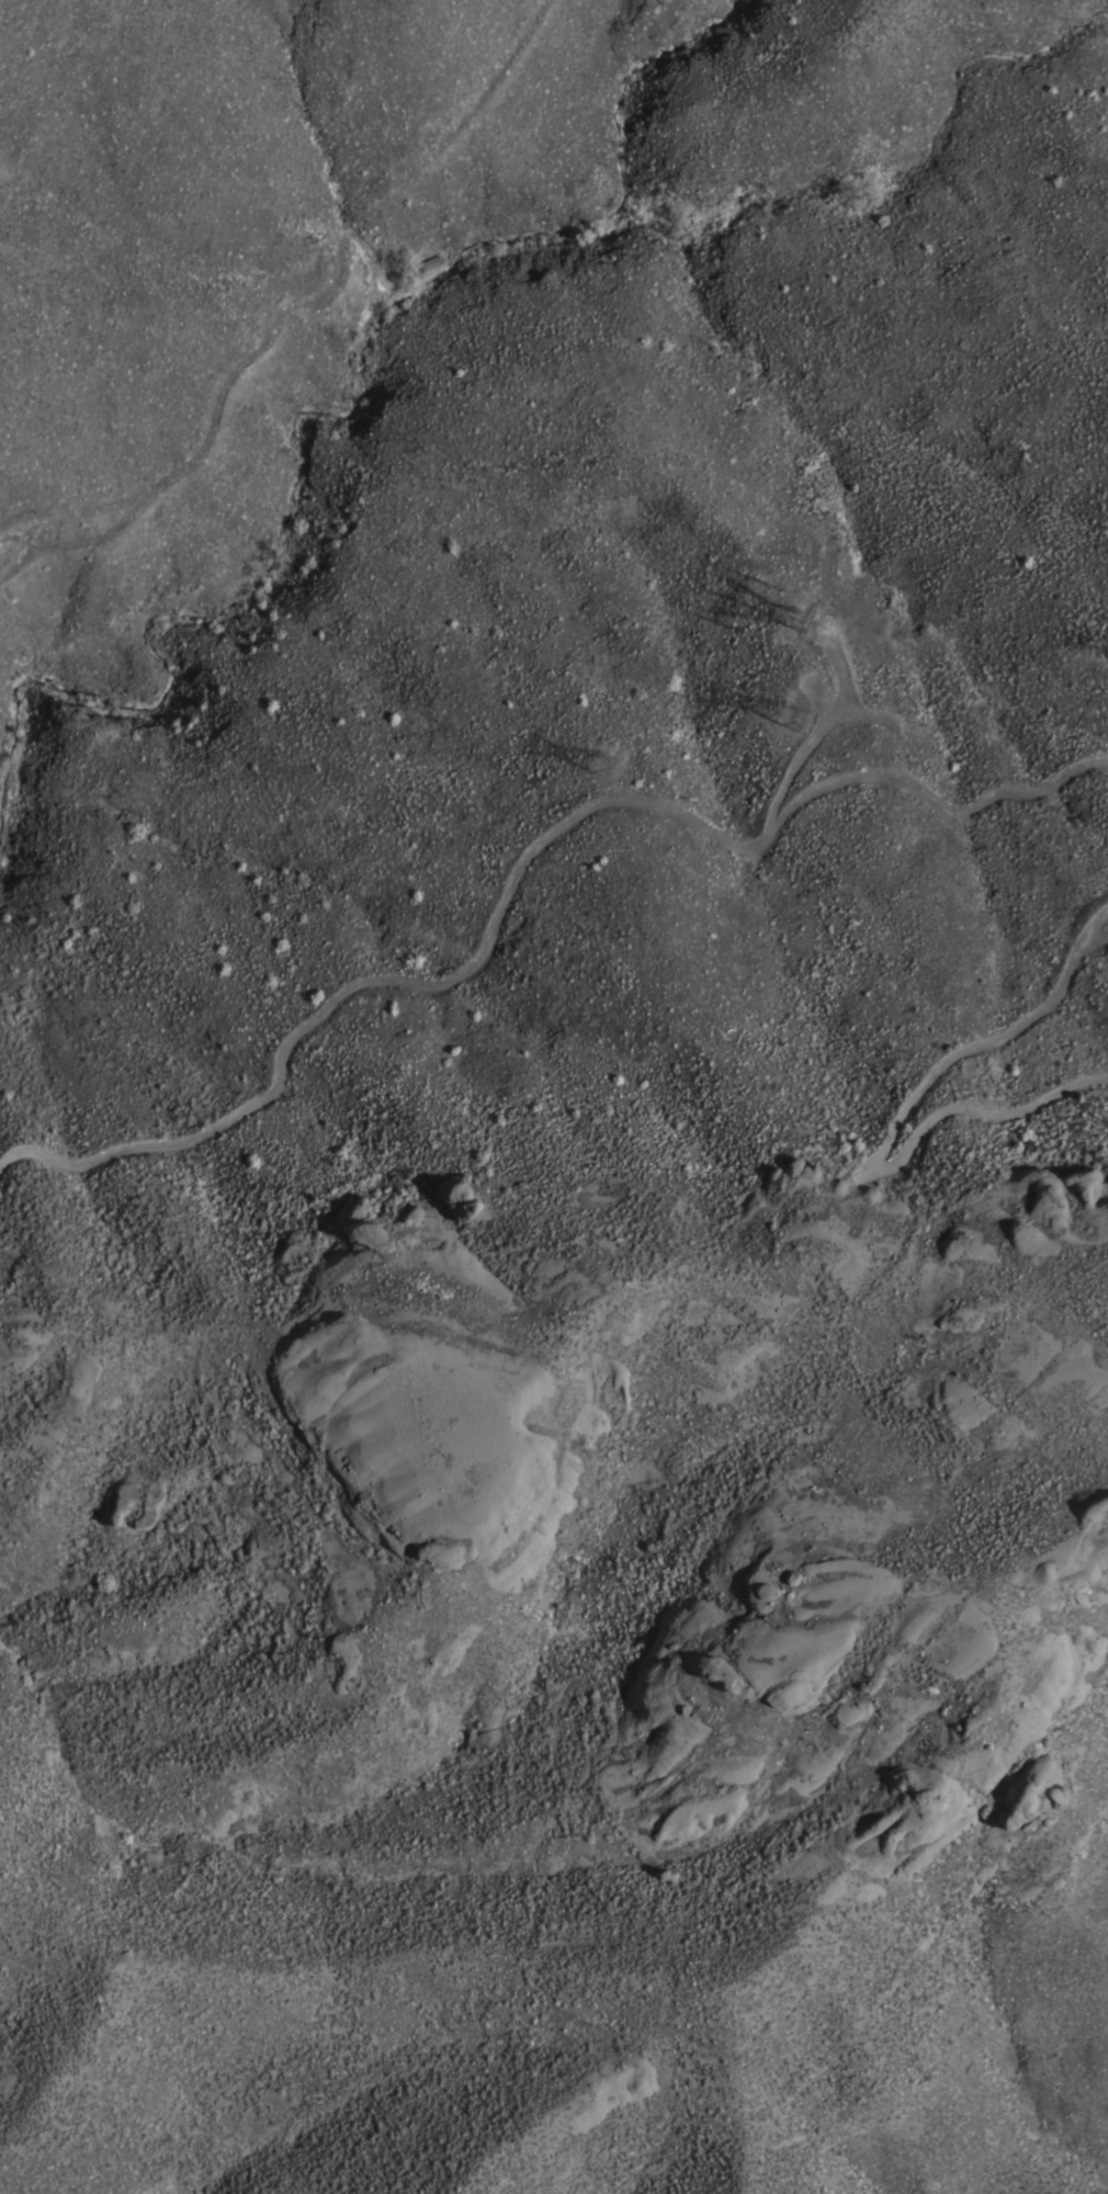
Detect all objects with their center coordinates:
building: (430, 261)
power tower: (782, 614)
power tower: (793, 717)
power tower: (596, 768)

